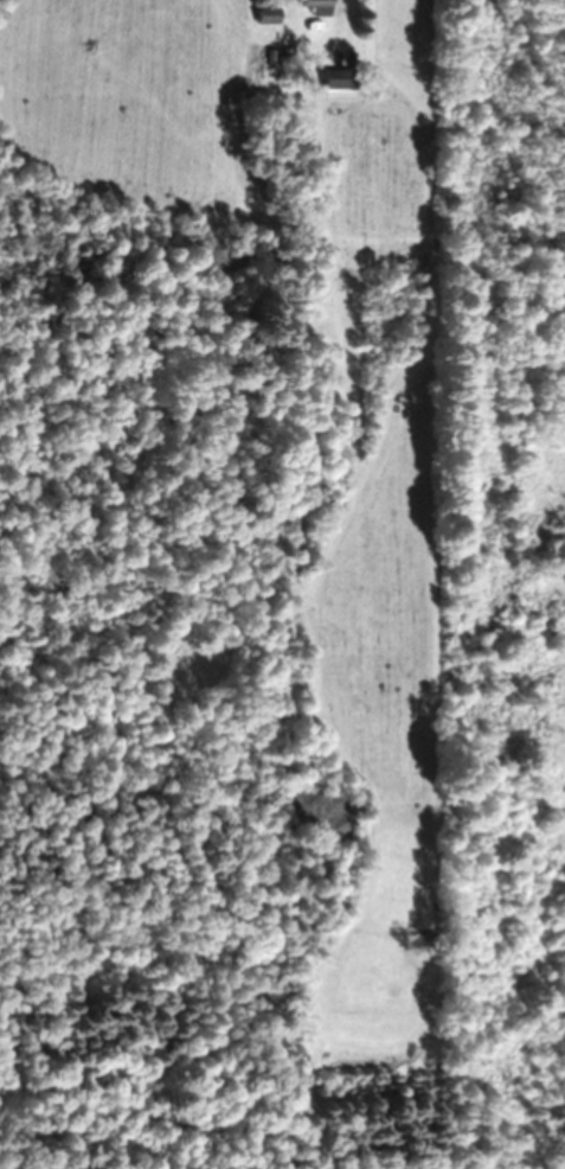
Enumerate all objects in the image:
building: (315, 7)
building: (267, 17)

